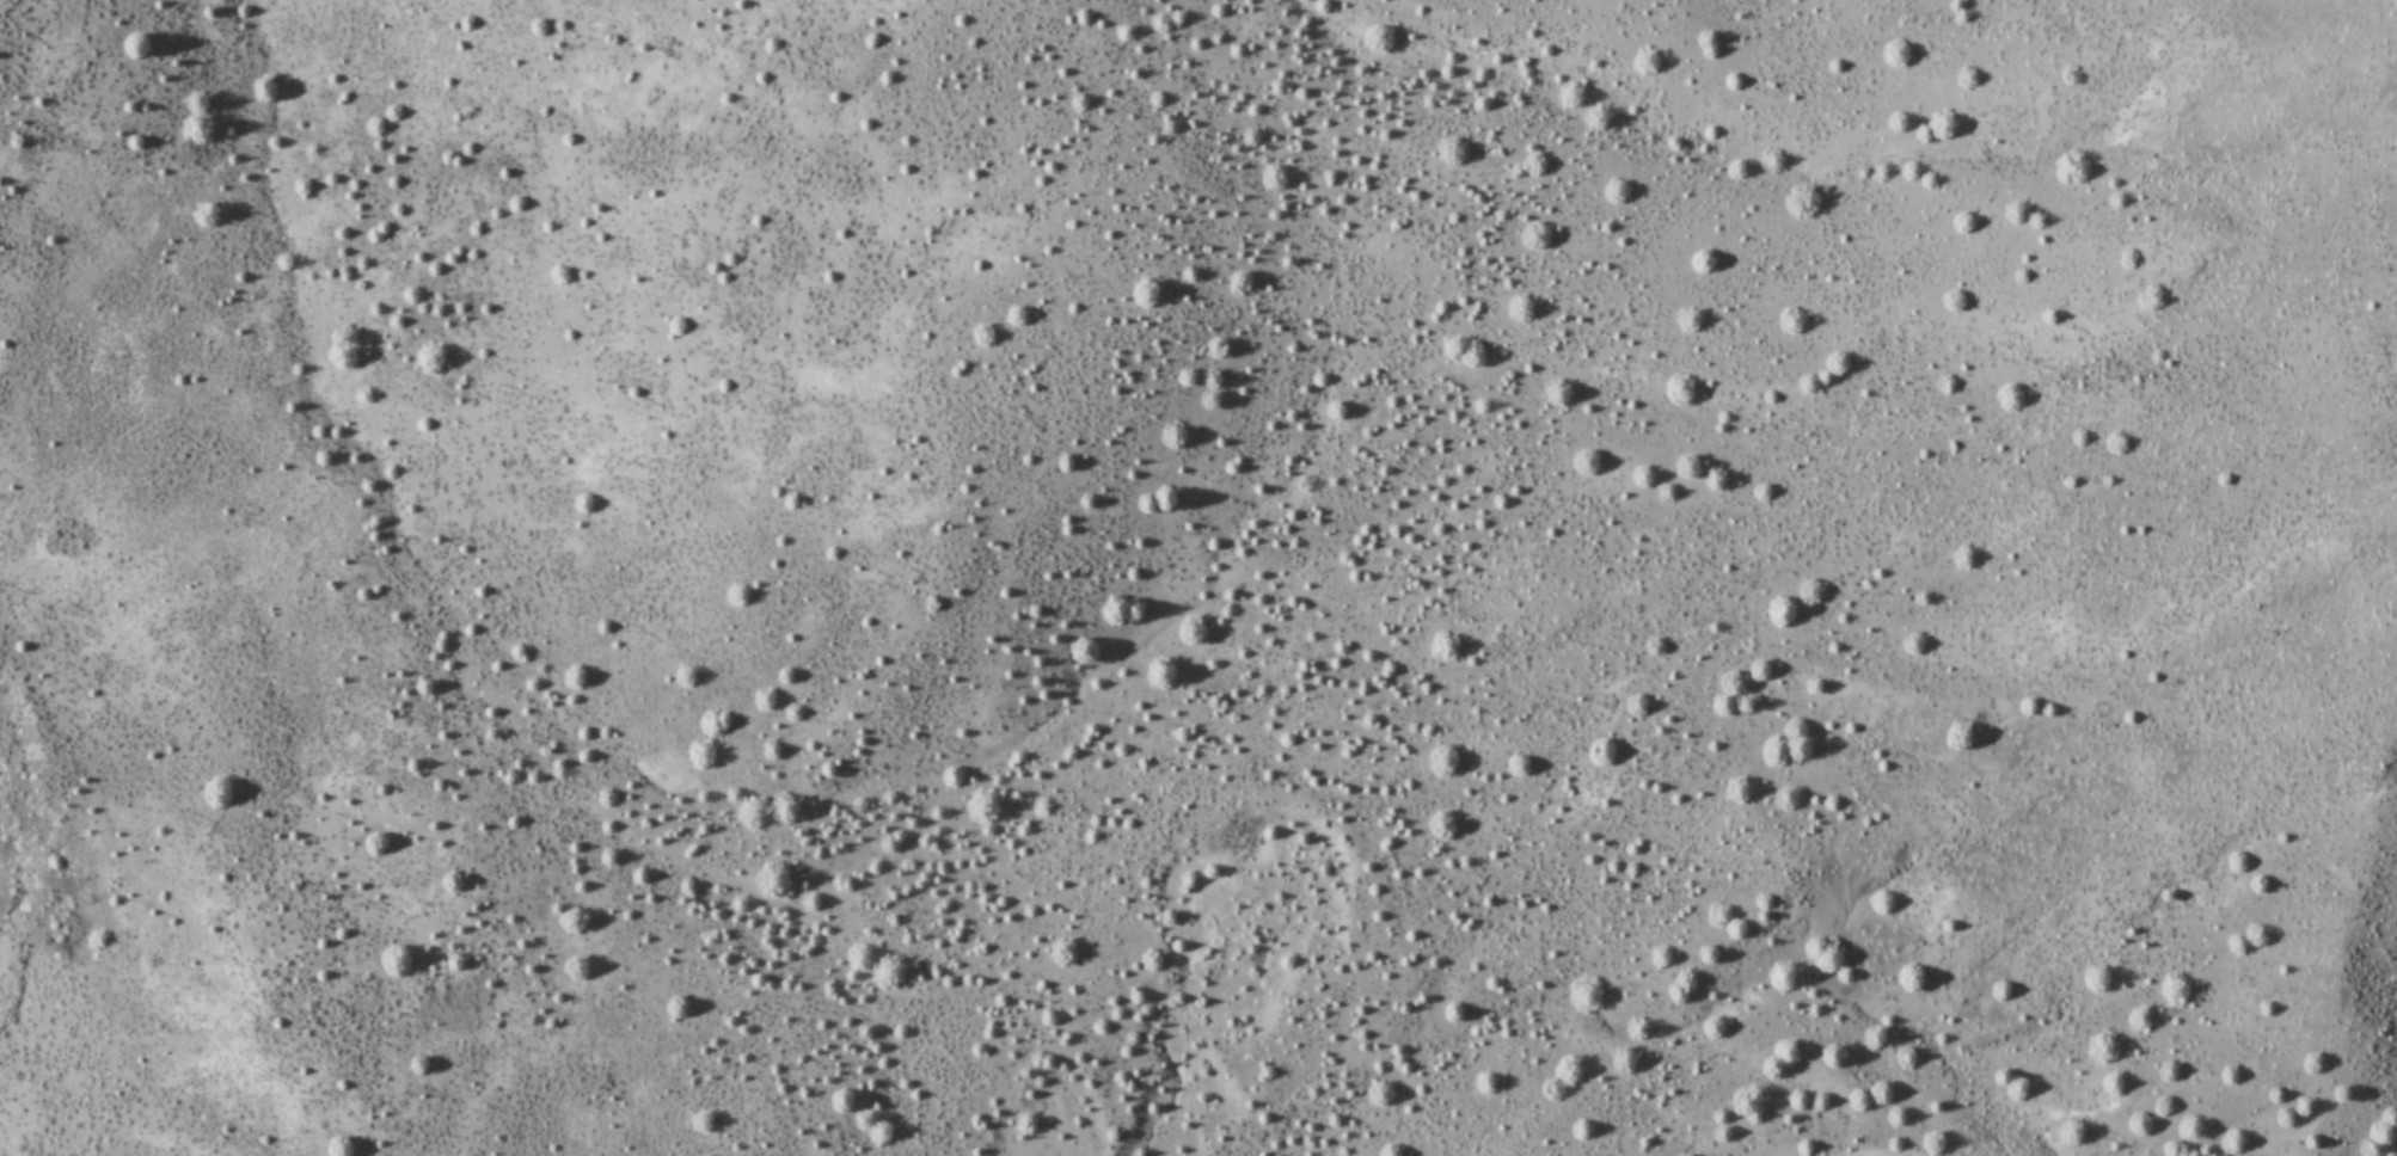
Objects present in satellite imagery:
road: (1935, 1151)

